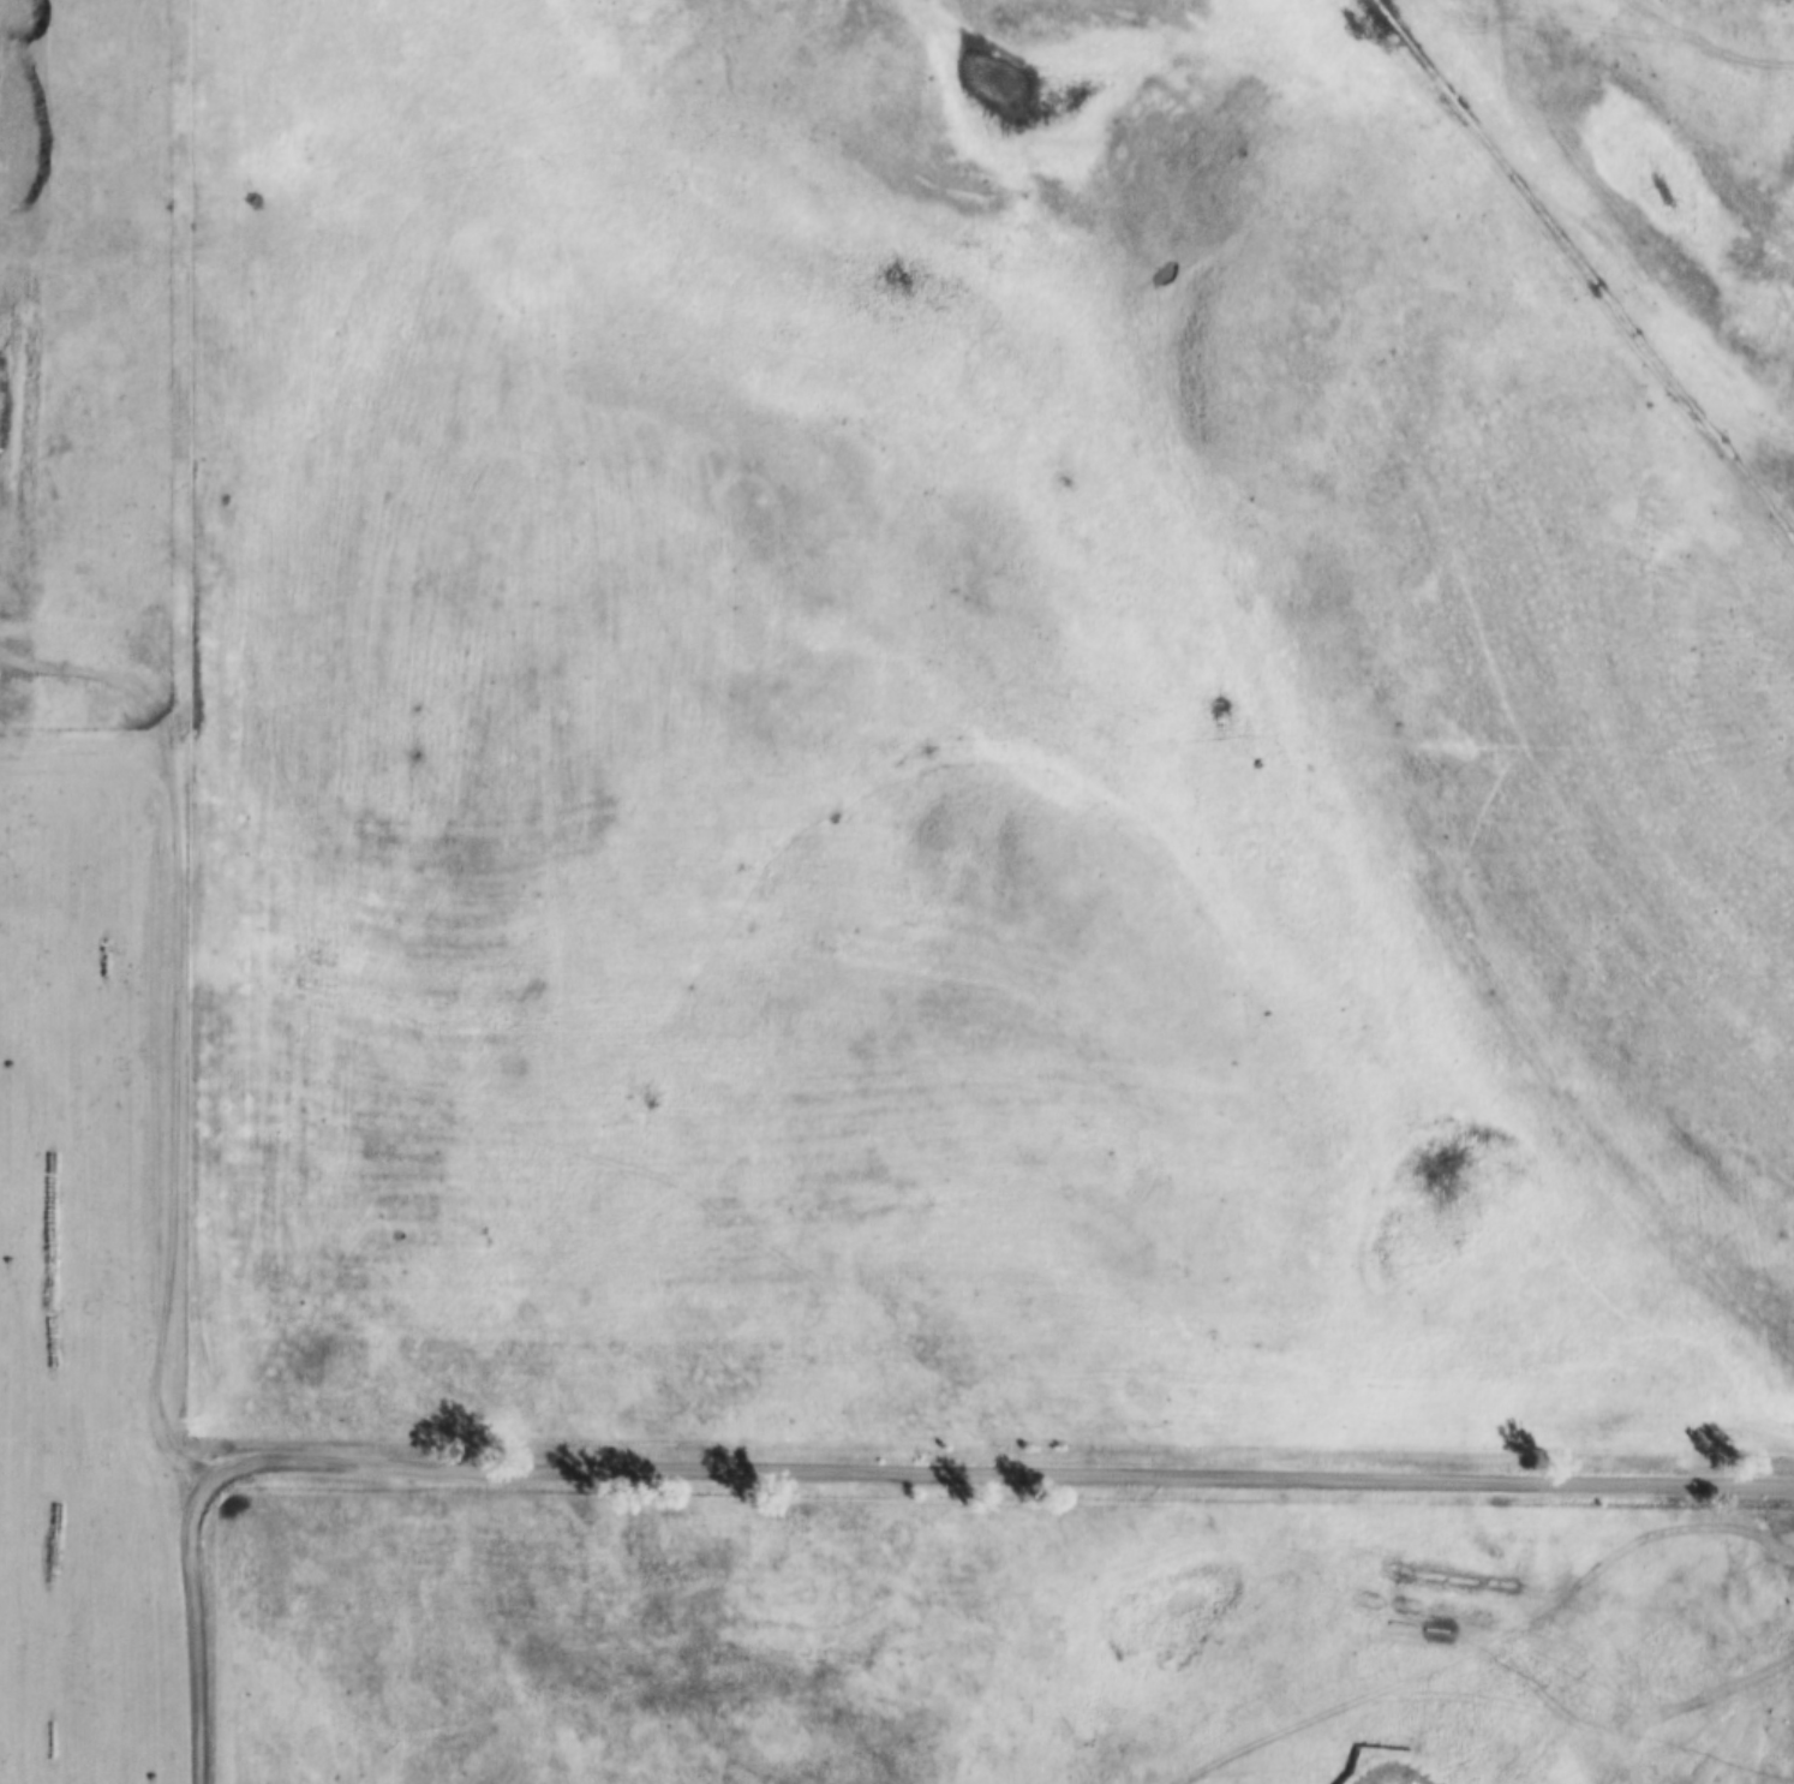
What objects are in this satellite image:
road: (1710, 38)
quarry: (17, 174)
road: (146, 1002)
road: (988, 1469)
road: (190, 1623)

